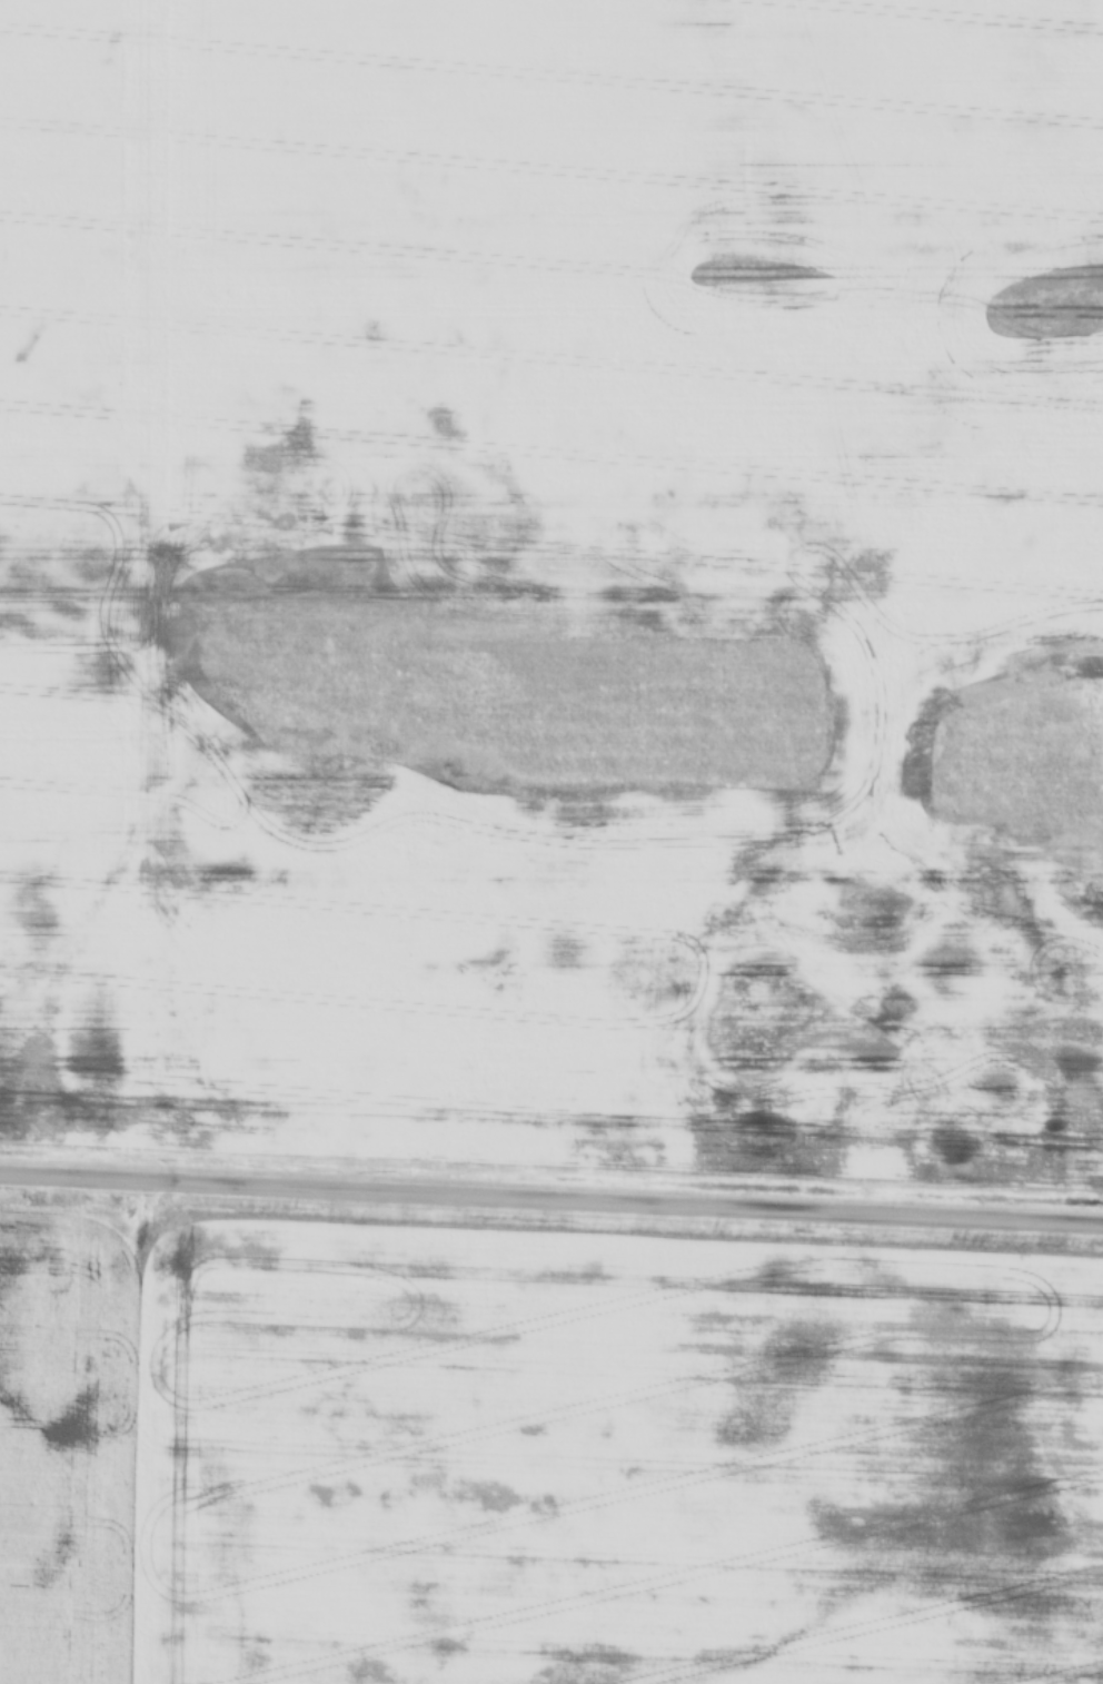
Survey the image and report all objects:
road: (551, 1196)

